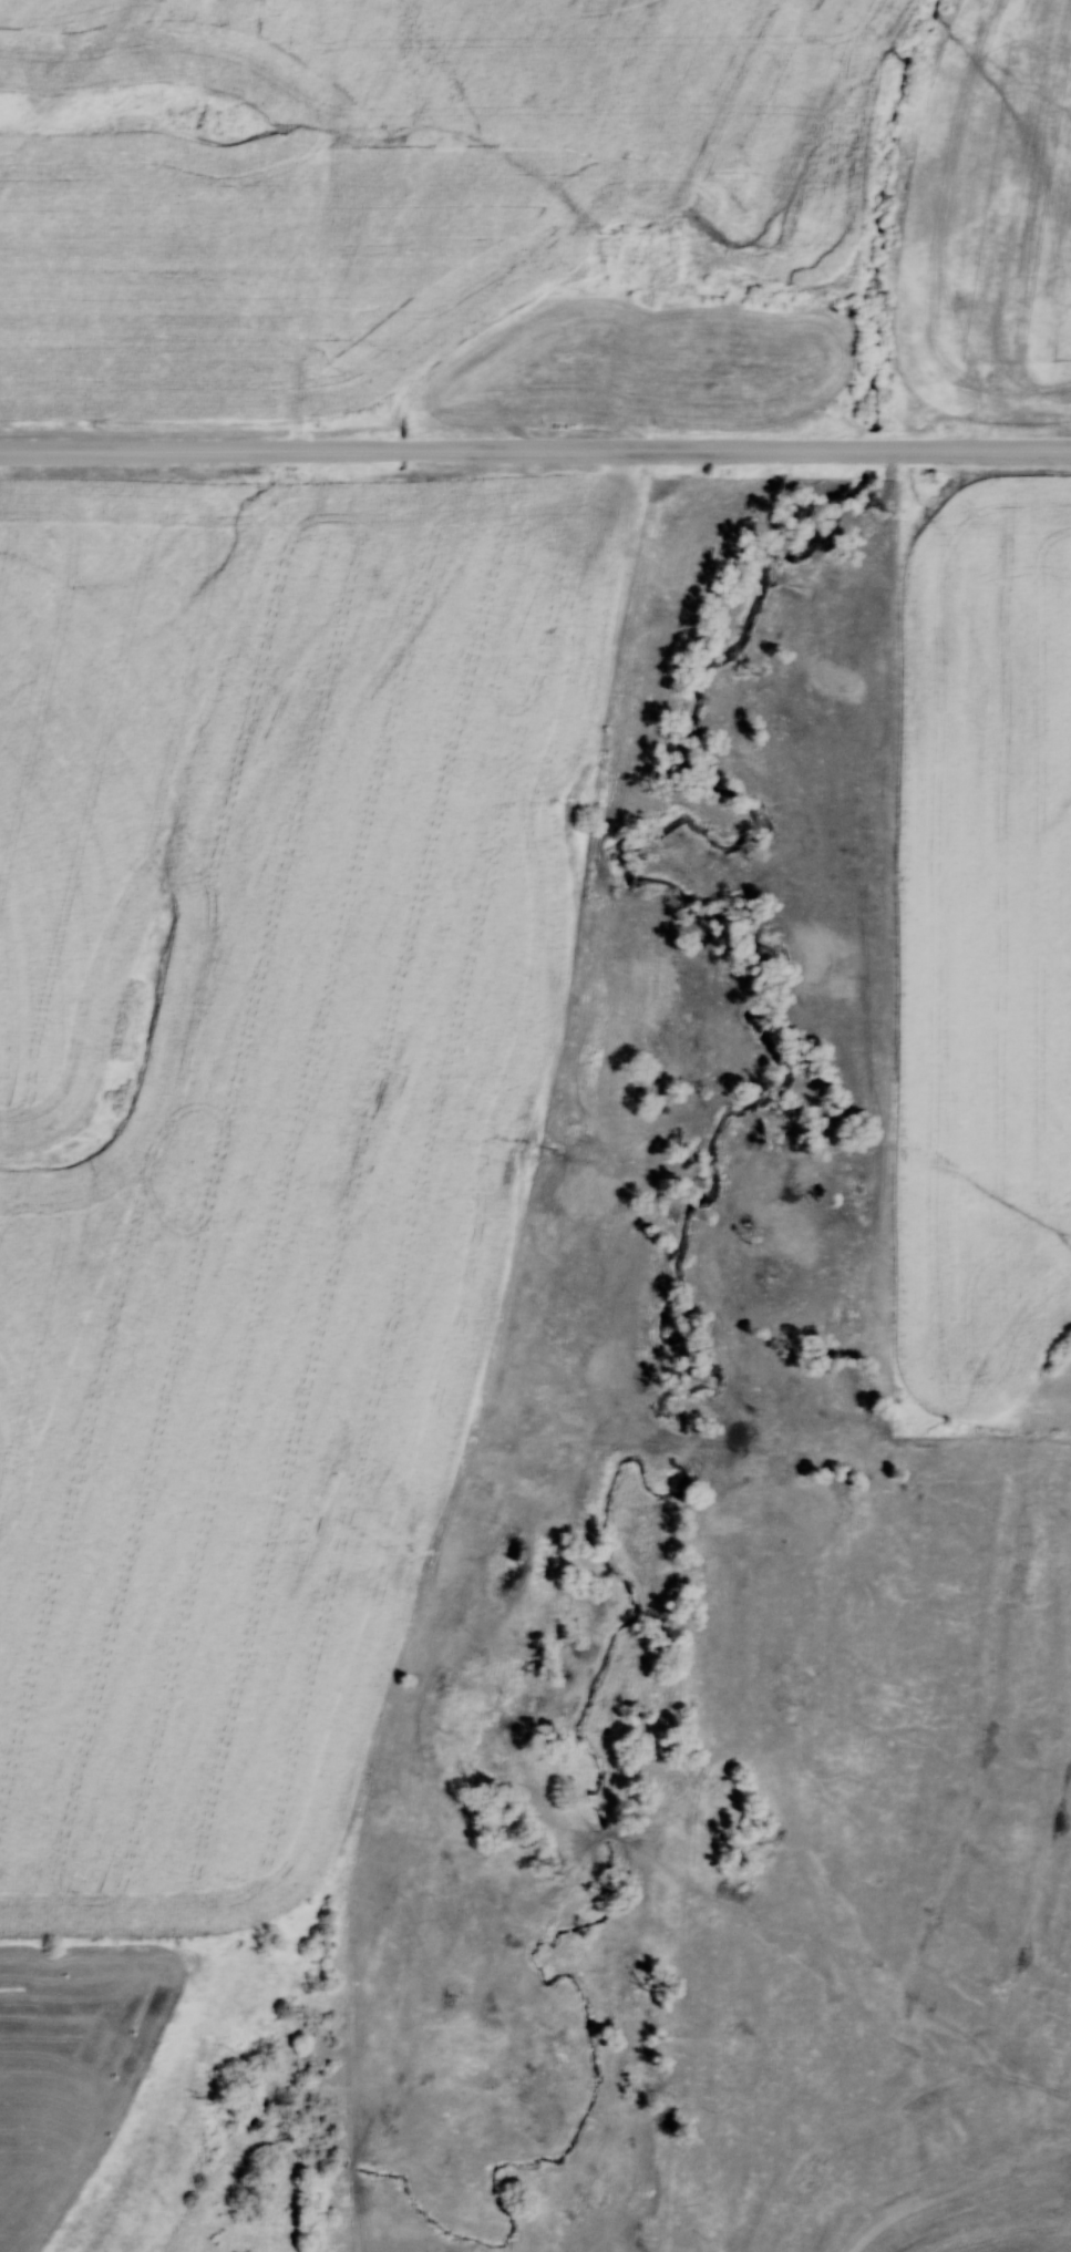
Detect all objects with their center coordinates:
road: (535, 445)

